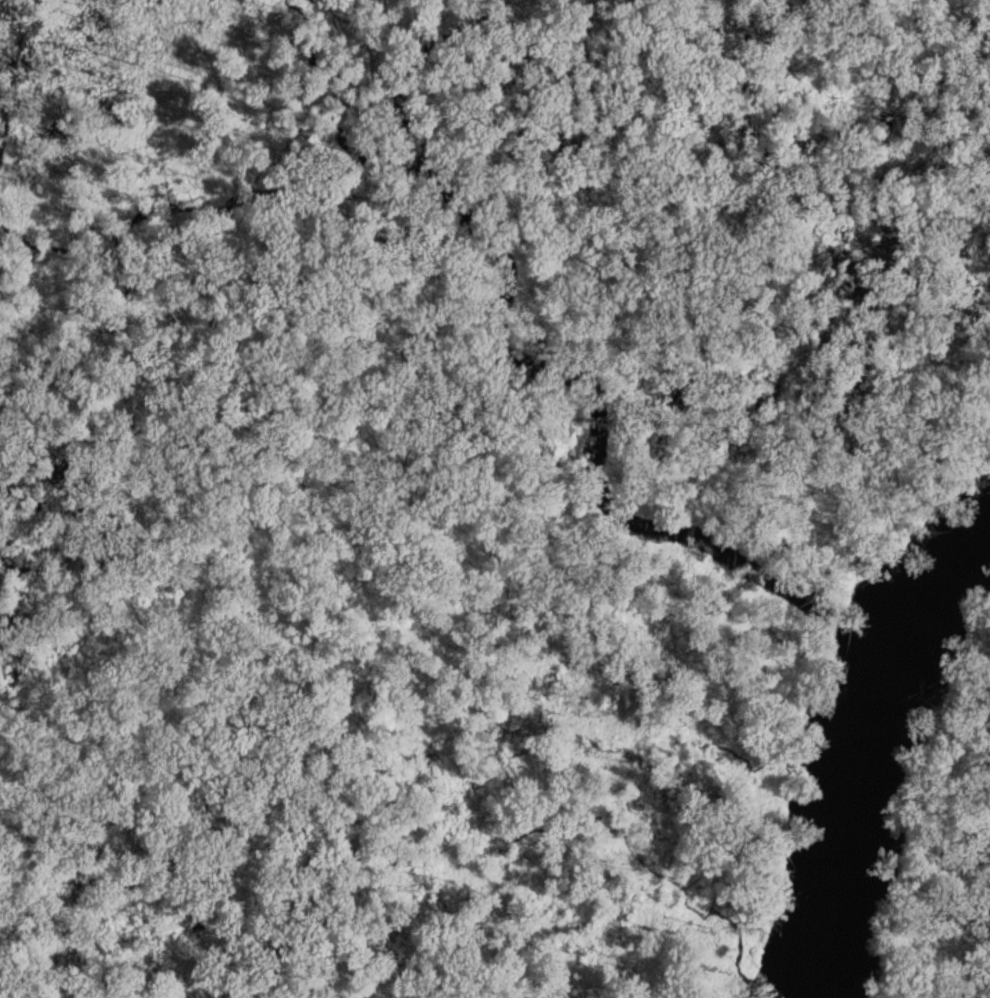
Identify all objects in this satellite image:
river: (867, 752)

